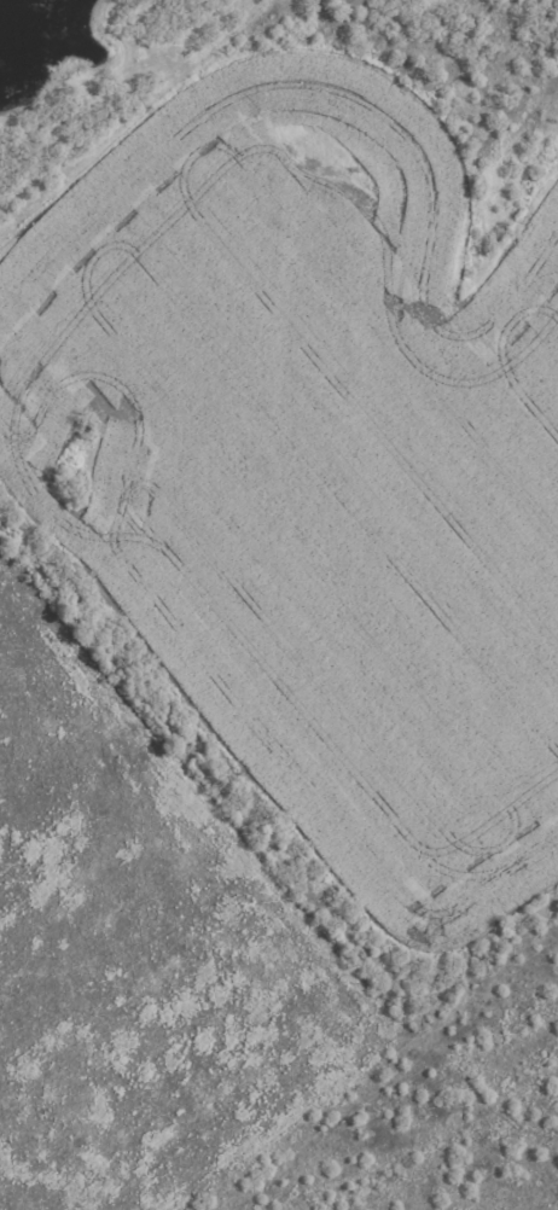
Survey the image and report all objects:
building: (351, 6)

